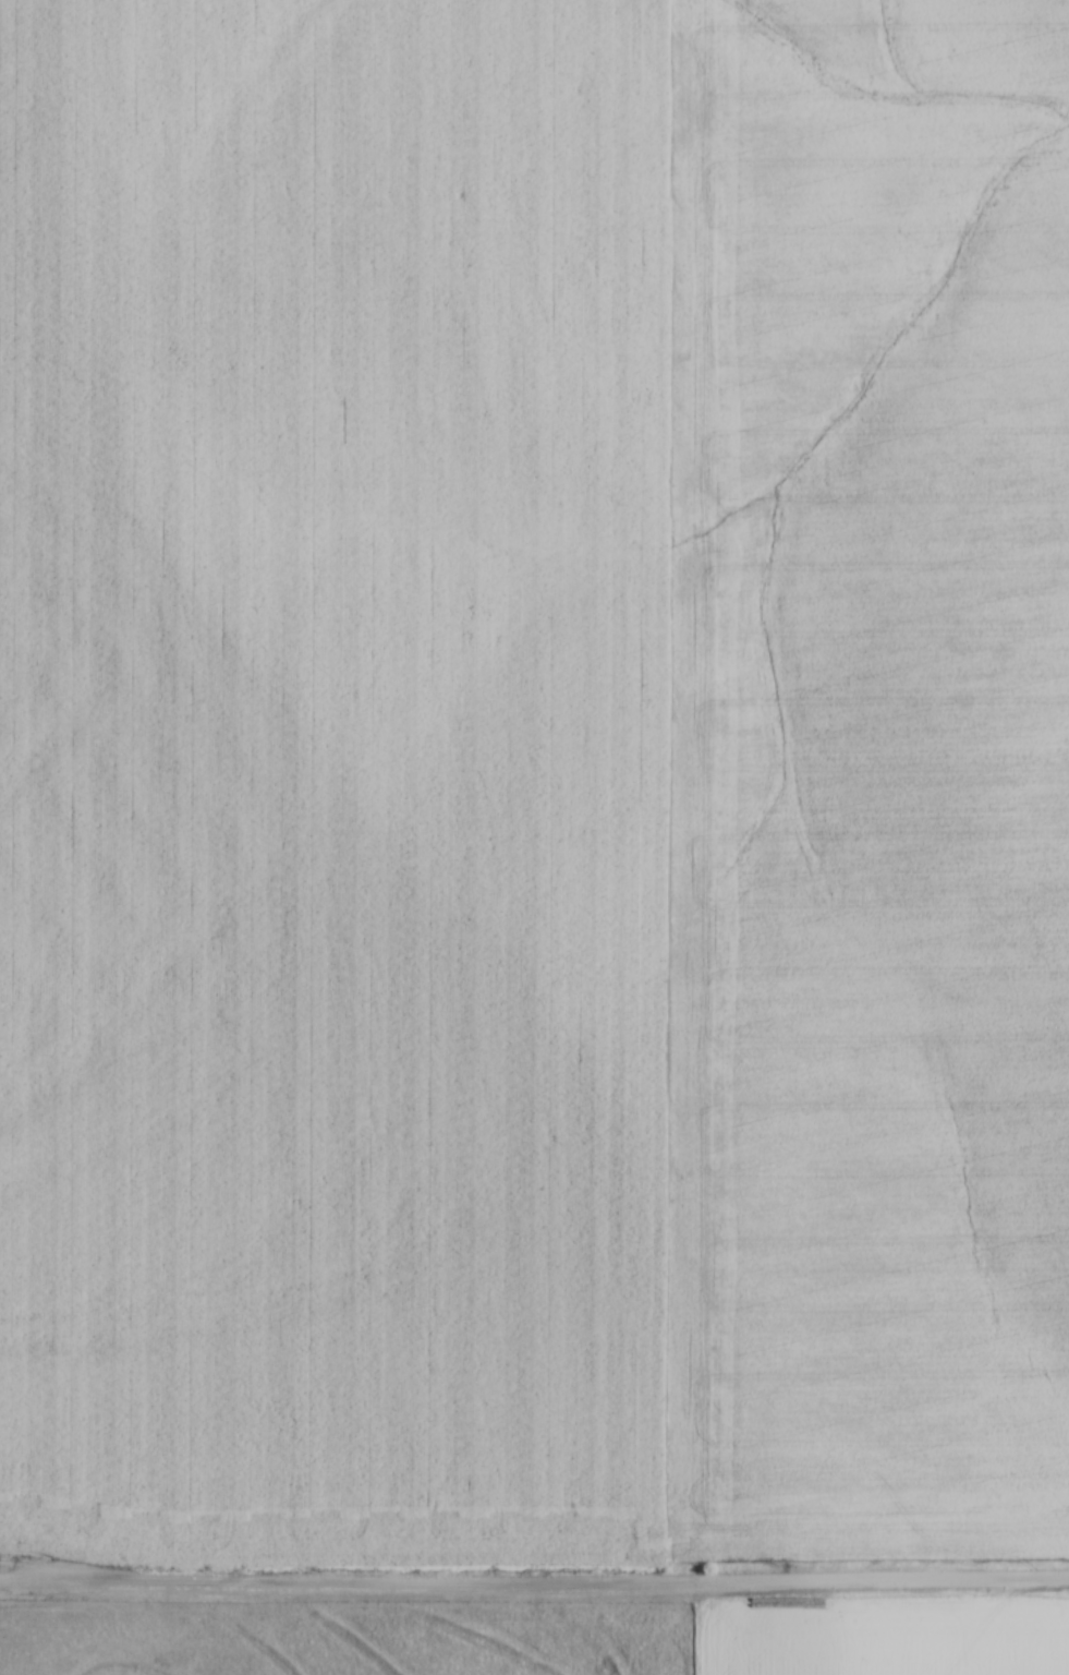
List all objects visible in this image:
road: (534, 1586)

